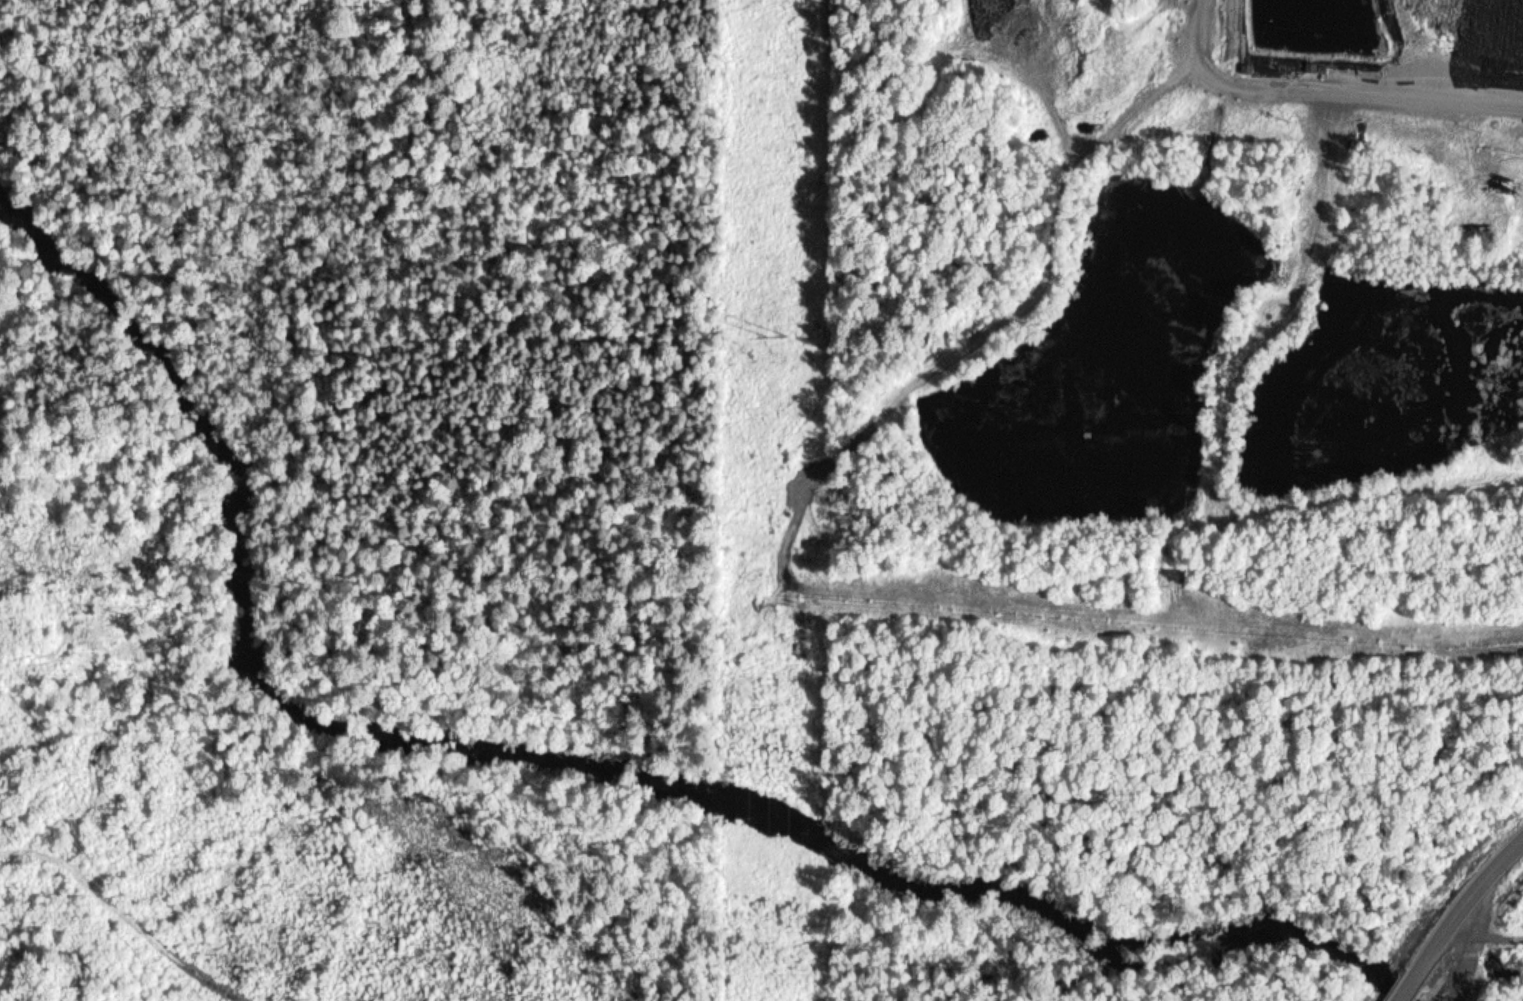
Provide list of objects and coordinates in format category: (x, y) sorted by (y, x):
road: (1302, 90)
power tower: (780, 335)
landfill: (1137, 358)
river: (417, 743)
road: (1455, 917)
road: (1483, 932)
river: (1269, 946)

